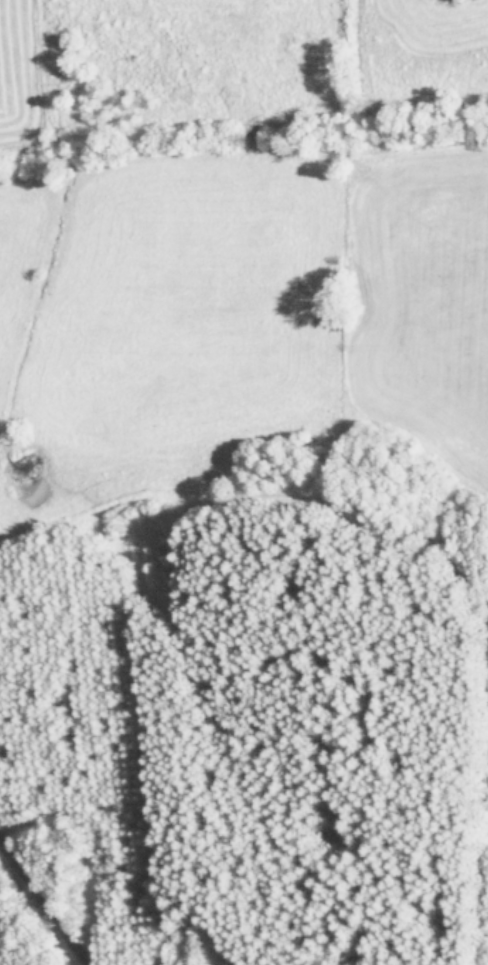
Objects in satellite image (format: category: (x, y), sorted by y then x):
road: (40, 904)

